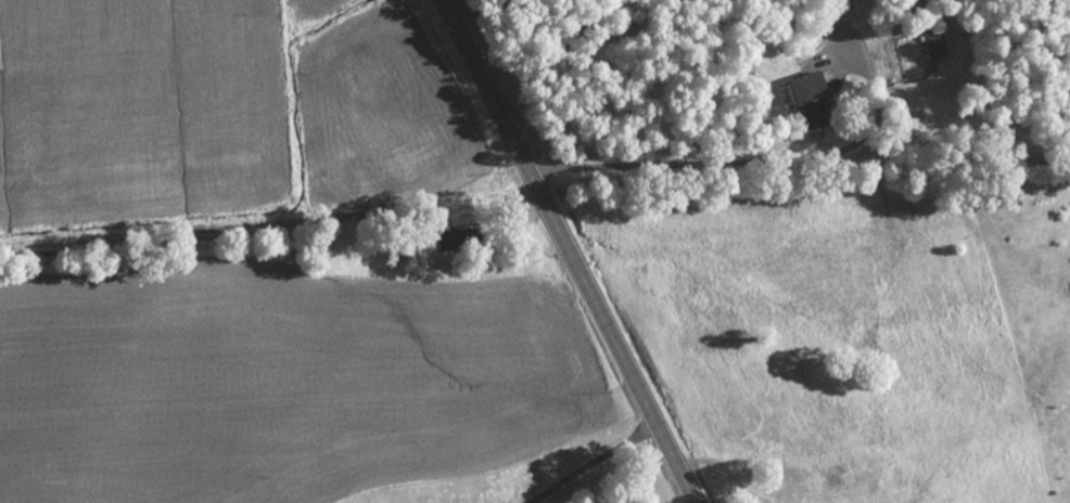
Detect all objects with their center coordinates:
building: (841, 12)
building: (934, 44)
building: (805, 89)
building: (448, 240)
road: (569, 251)

